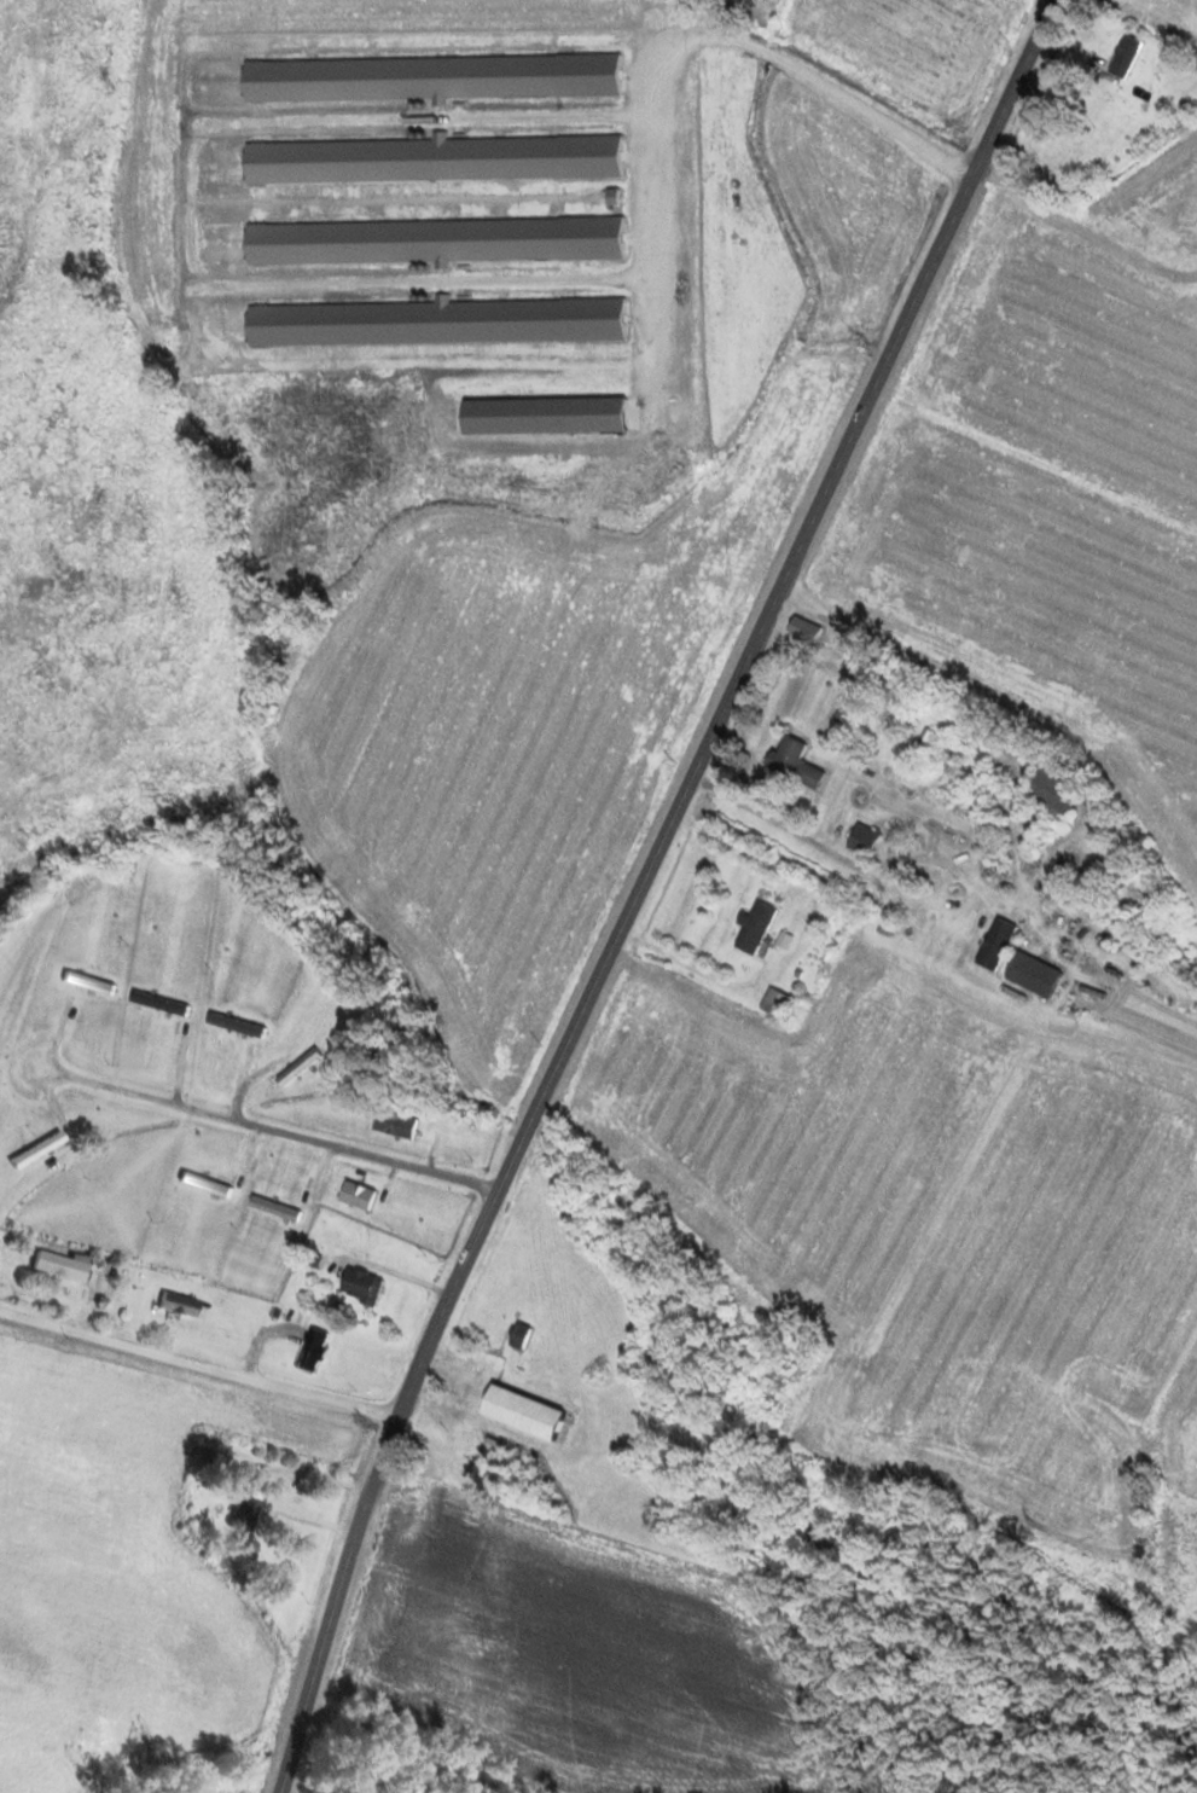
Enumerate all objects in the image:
building: (1121, 57)
building: (428, 77)
building: (430, 158)
road: (1085, 225)
building: (428, 240)
building: (434, 321)
building: (536, 414)
building: (800, 628)
building: (928, 739)
building: (796, 771)
building: (983, 784)
building: (1050, 790)
building: (859, 839)
road: (640, 886)
building: (753, 928)
building: (993, 944)
building: (1145, 946)
building: (1024, 971)
building: (86, 982)
building: (155, 1003)
building: (773, 1003)
building: (231, 1025)
building: (291, 1067)
building: (390, 1124)
road: (280, 1130)
building: (34, 1149)
building: (202, 1184)
building: (353, 1195)
building: (272, 1208)
building: (56, 1266)
building: (176, 1305)
building: (516, 1335)
building: (308, 1351)
road: (198, 1360)
building: (516, 1412)
road: (521, 1418)
building: (245, 1503)

